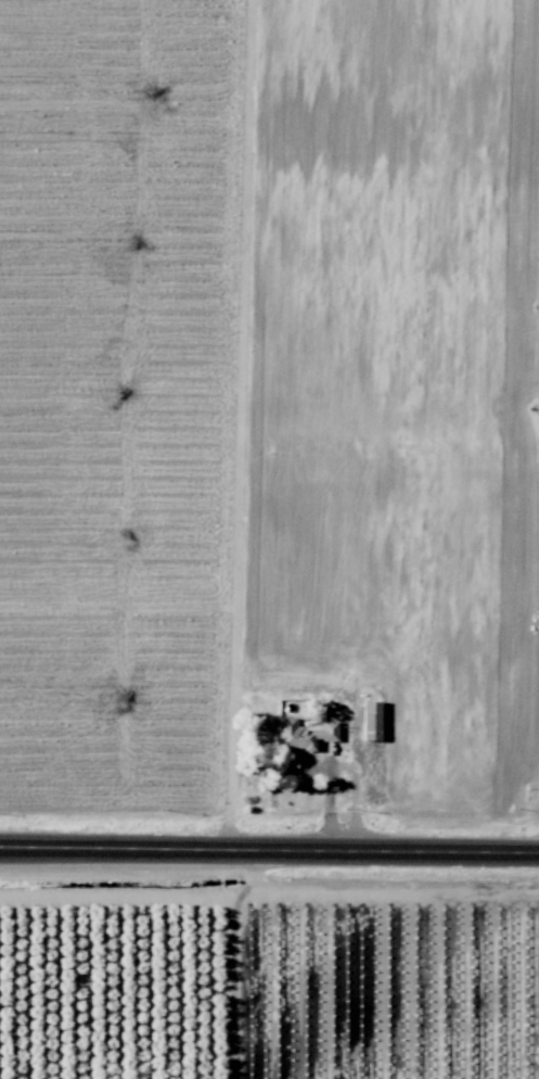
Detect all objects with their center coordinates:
road: (288, 688)
building: (371, 720)
building: (304, 733)
road: (328, 796)
road: (269, 850)
road: (236, 962)

